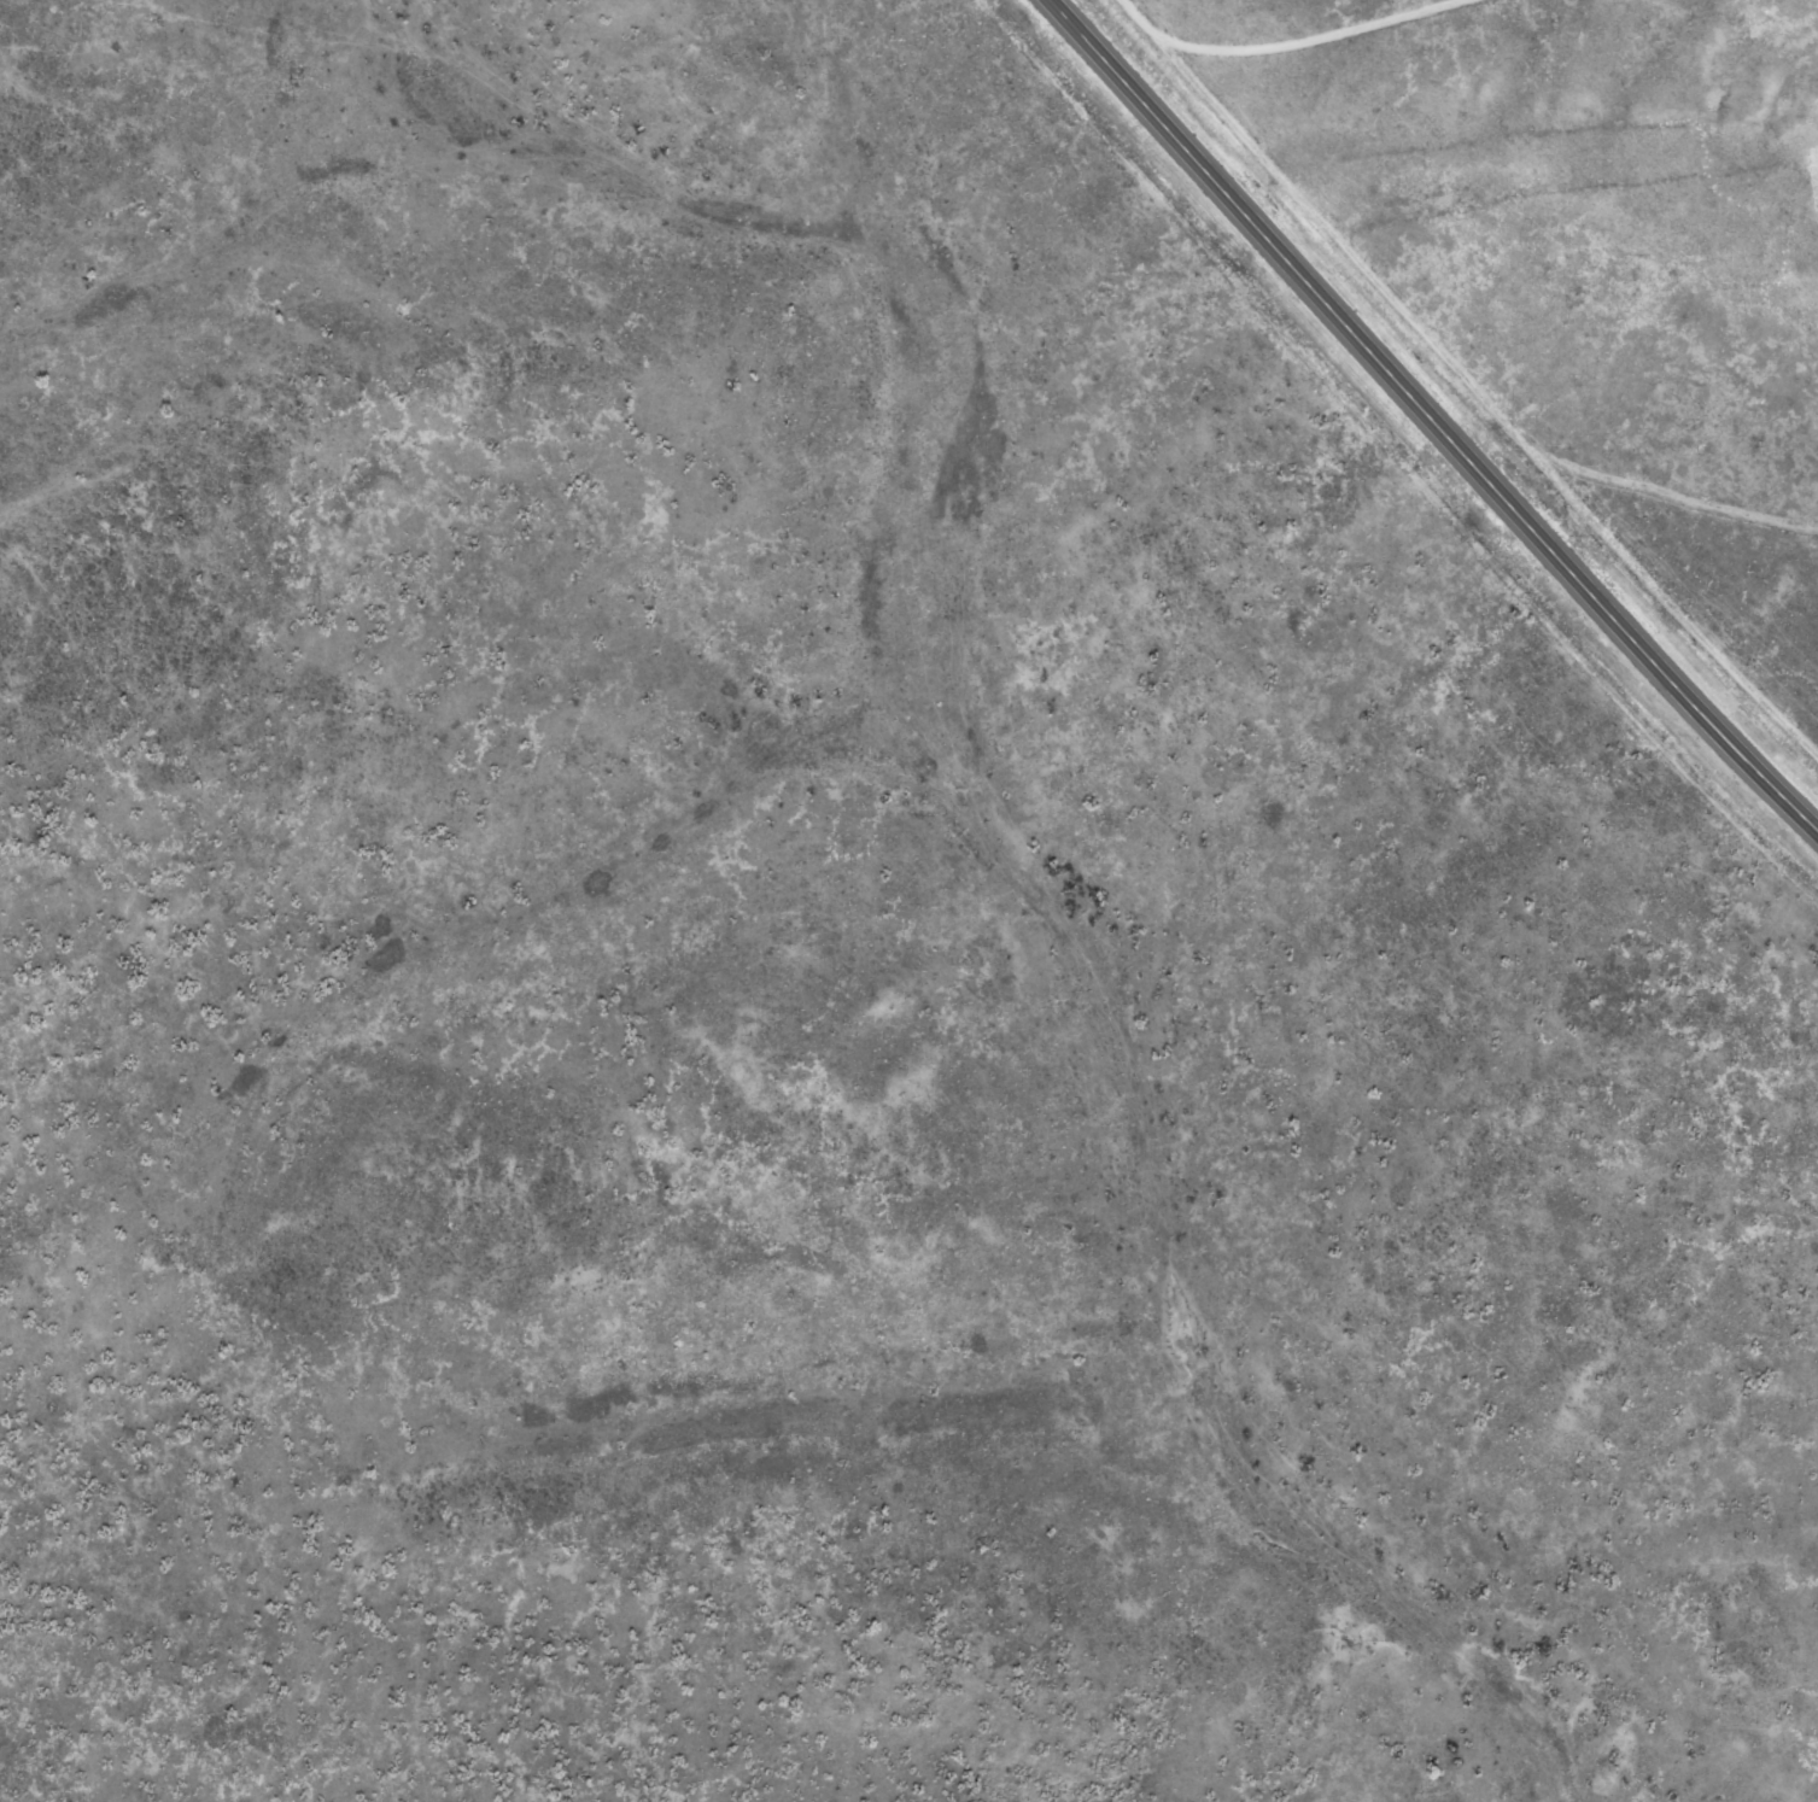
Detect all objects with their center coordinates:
road: (1376, 5)
road: (1433, 415)

